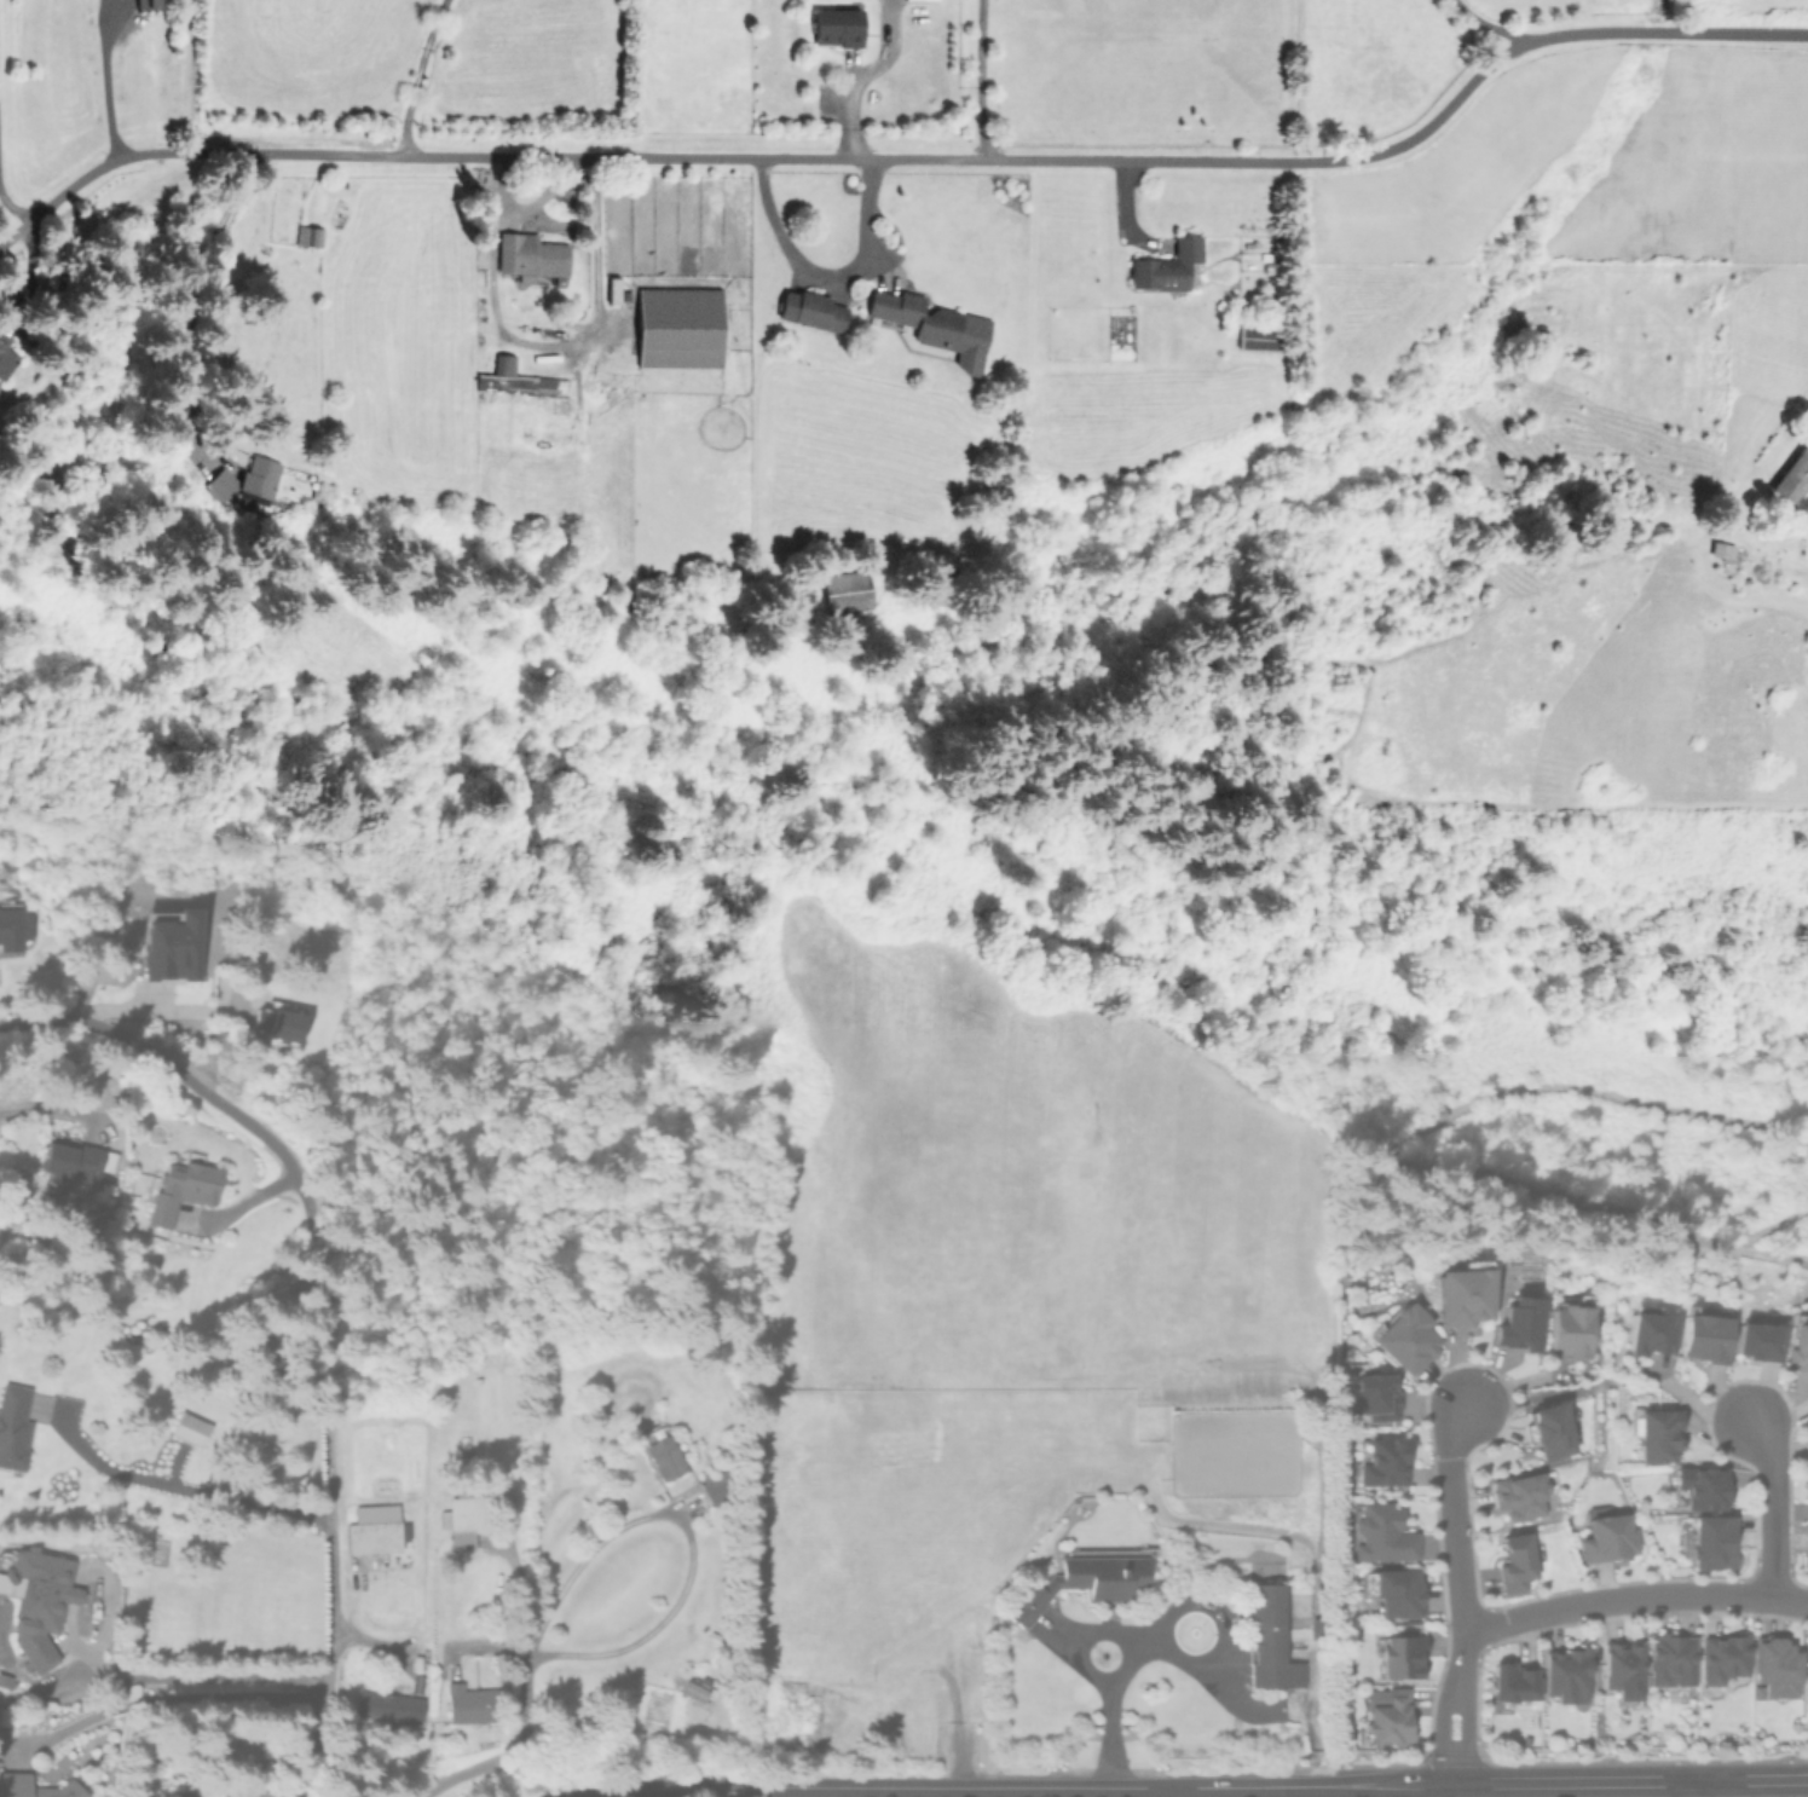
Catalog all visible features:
building: (146, 4)
road: (1488, 23)
building: (836, 27)
road: (414, 75)
road: (978, 80)
road: (104, 81)
road: (909, 158)
road: (12, 210)
building: (307, 236)
building: (530, 255)
building: (1166, 266)
road: (824, 272)
building: (612, 290)
building: (810, 311)
building: (934, 325)
building: (677, 327)
building: (1258, 337)
road: (556, 356)
building: (5, 357)
building: (516, 380)
building: (1792, 476)
building: (246, 479)
building: (845, 590)
building: (12, 930)
building: (172, 946)
building: (278, 1023)
road: (1, 1027)
building: (181, 1189)
building: (1460, 1296)
road: (329, 1310)
building: (1519, 1324)
building: (1569, 1333)
building: (1650, 1334)
building: (1703, 1337)
building: (1405, 1339)
building: (1756, 1341)
building: (1797, 1347)
building: (1376, 1396)
building: (13, 1426)
building: (189, 1429)
building: (1550, 1431)
building: (1657, 1435)
building: (664, 1457)
building: (1385, 1462)
road: (185, 1486)
building: (715, 1487)
building: (1702, 1487)
building: (1519, 1496)
road: (1769, 1504)
building: (462, 1518)
building: (371, 1530)
building: (1382, 1533)
road: (689, 1537)
building: (1607, 1538)
building: (1710, 1542)
building: (1514, 1562)
building: (1082, 1582)
building: (1397, 1591)
road: (1458, 1593)
road: (1634, 1599)
building: (35, 1601)
road: (1166, 1620)
building: (1270, 1639)
building: (1722, 1657)
building: (1807, 1659)
building: (1670, 1660)
building: (1775, 1668)
building: (1622, 1669)
building: (1565, 1674)
road: (197, 1675)
building: (1510, 1682)
building: (693, 1687)
road: (164, 1697)
building: (468, 1704)
building: (388, 1706)
building: (4, 1715)
building: (1388, 1718)
road: (513, 1747)
road: (1573, 1781)
road: (958, 1785)
building: (35, 1787)
road: (1698, 1789)
road: (1167, 1791)
building: (255, 1793)
building: (216, 1796)

